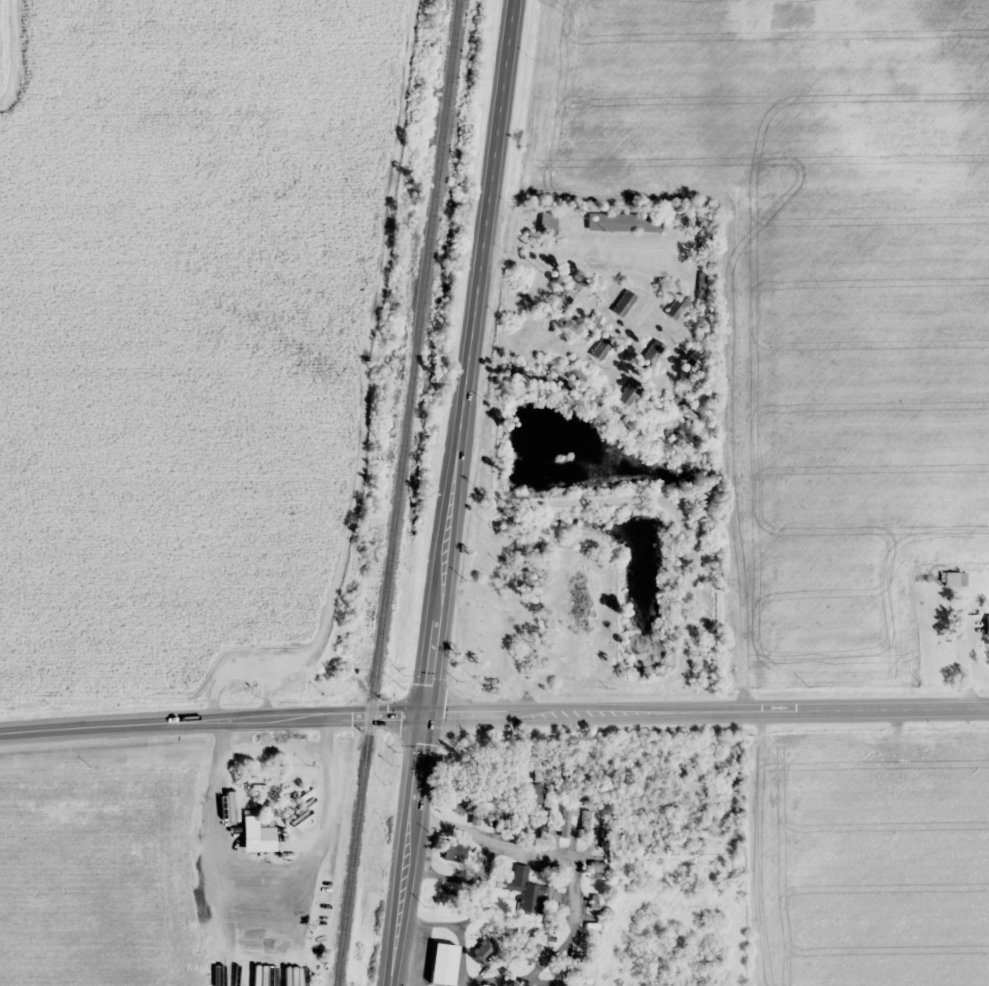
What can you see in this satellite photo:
building: (792, 14)
building: (546, 221)
building: (629, 221)
road: (577, 261)
building: (567, 287)
building: (622, 303)
building: (676, 305)
building: (601, 346)
building: (652, 352)
building: (693, 361)
building: (627, 392)
building: (594, 395)
building: (667, 402)
railway: (397, 492)
road: (451, 492)
building: (952, 578)
building: (703, 603)
building: (728, 614)
building: (986, 624)
road: (494, 711)
traffic signals: (420, 712)
building: (483, 790)
building: (534, 792)
building: (468, 812)
building: (524, 819)
building: (566, 820)
building: (585, 823)
building: (249, 825)
building: (197, 836)
building: (453, 850)
building: (524, 891)
building: (484, 949)
building: (441, 964)

